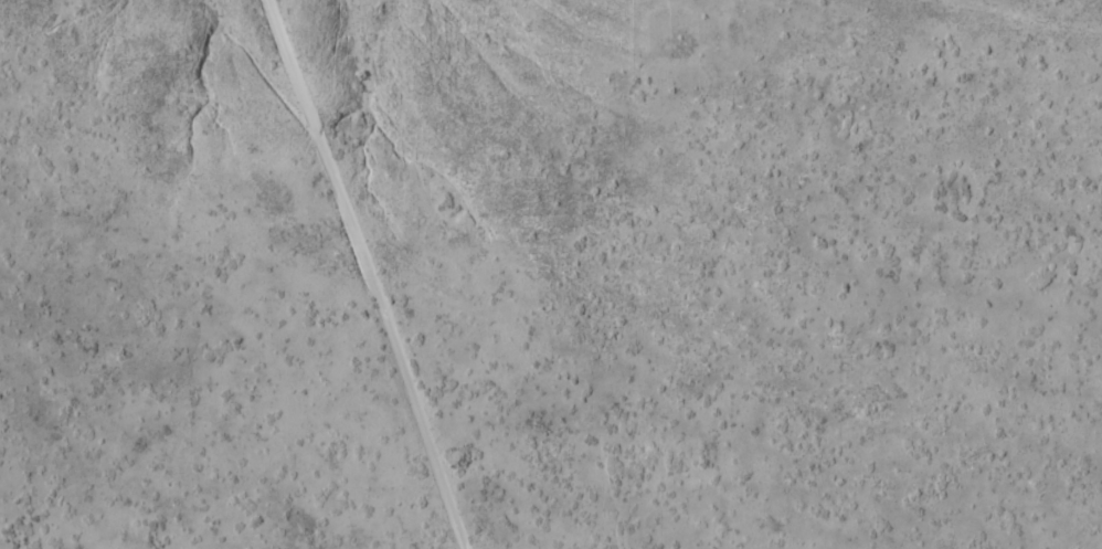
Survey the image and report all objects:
road: (386, 274)

